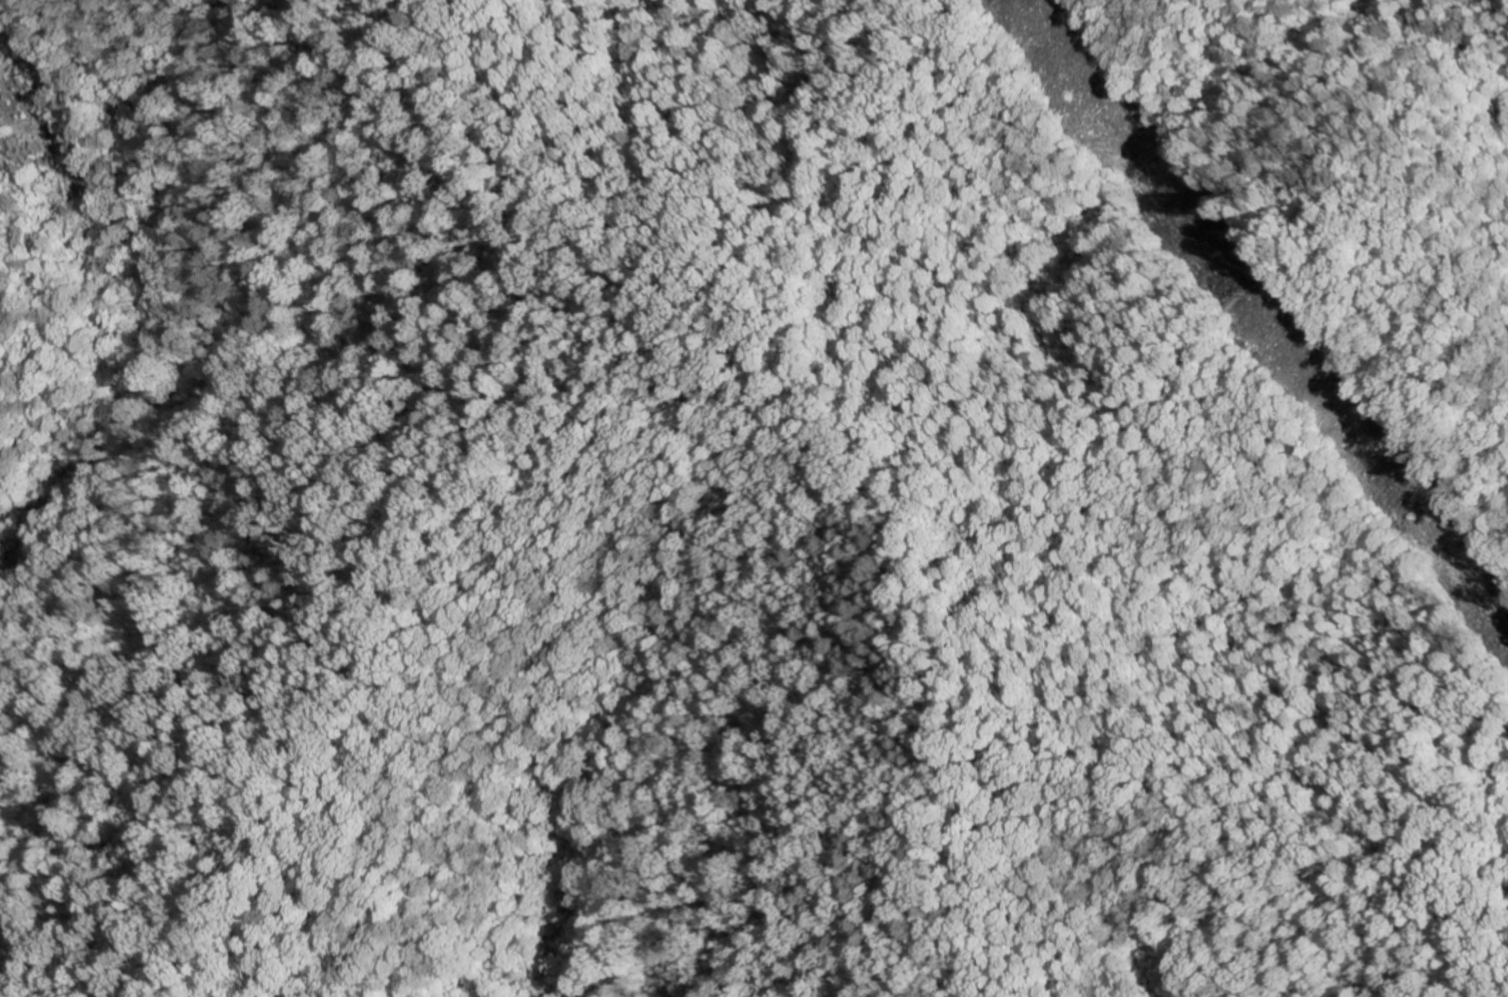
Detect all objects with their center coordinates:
road: (1476, 56)

